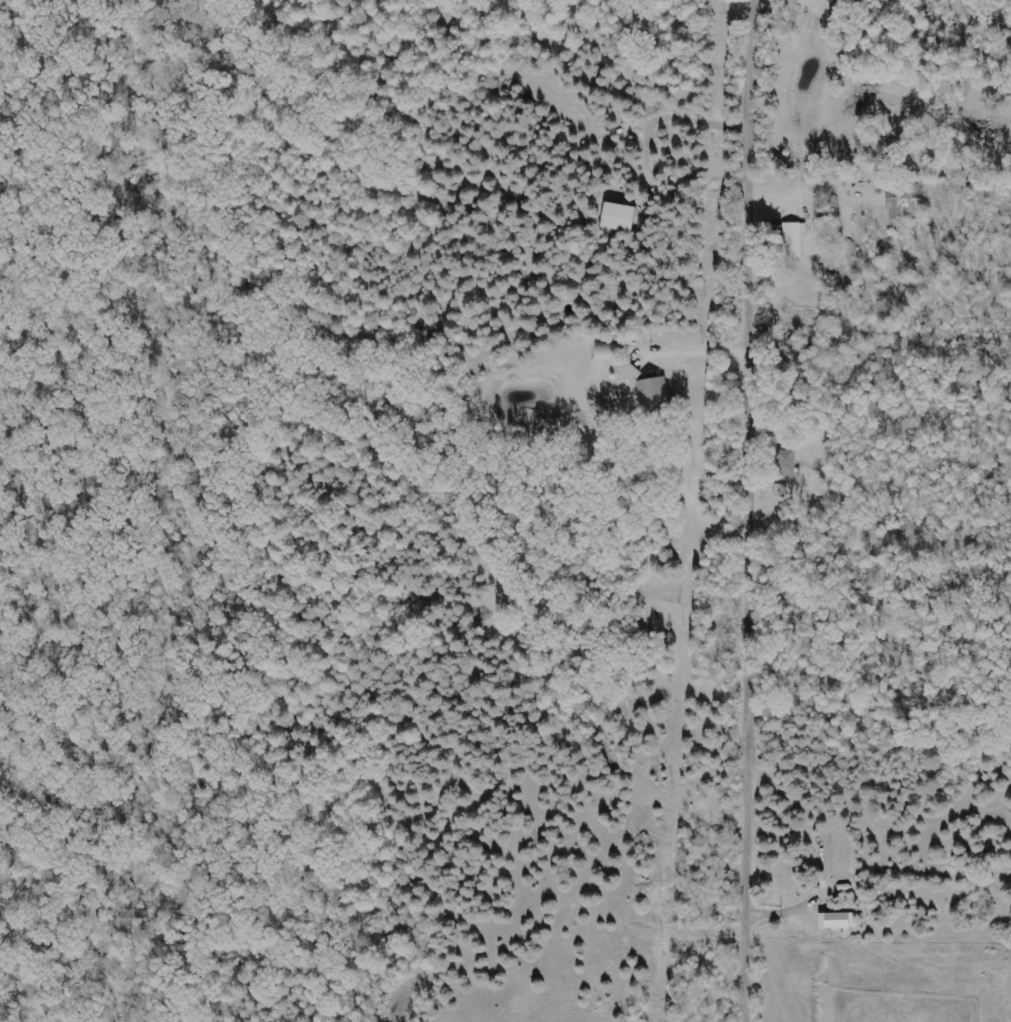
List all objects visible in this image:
building: (792, 239)
road: (699, 351)
building: (629, 372)
building: (653, 394)
building: (785, 463)
building: (779, 491)
road: (756, 510)
building: (837, 921)

